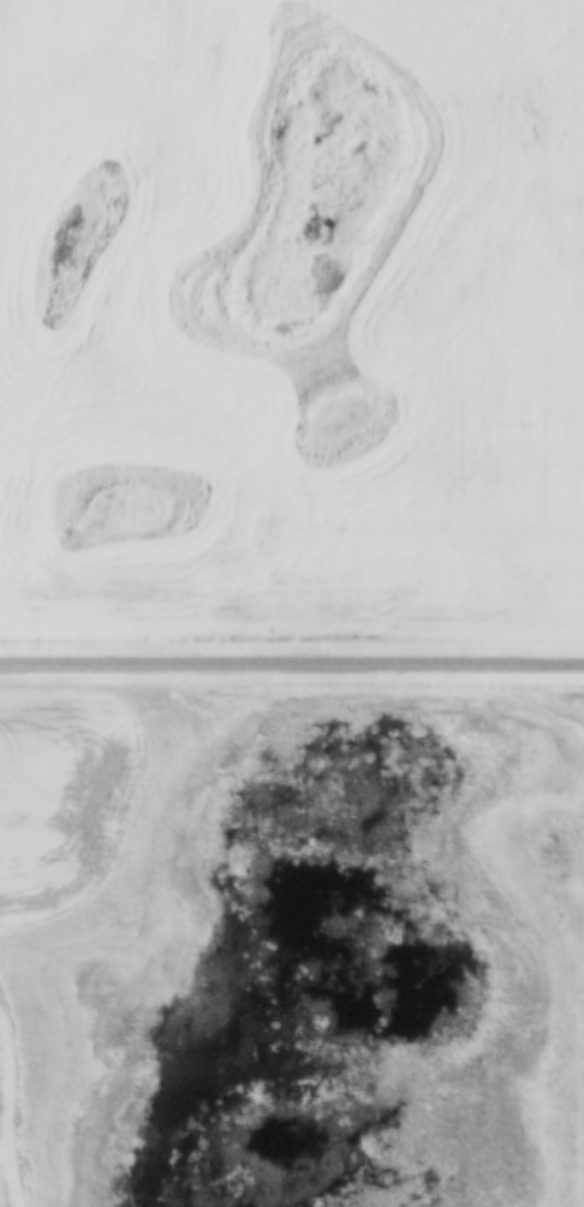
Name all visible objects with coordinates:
road: (291, 659)

